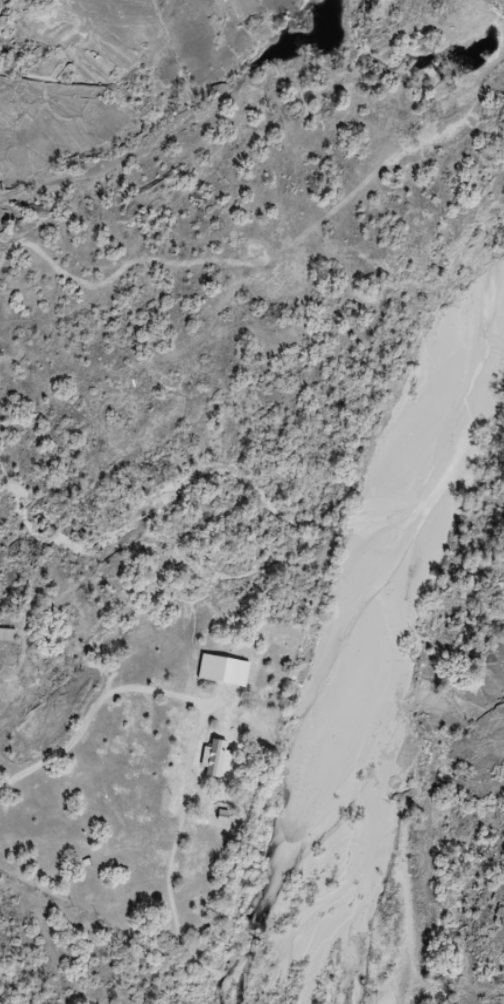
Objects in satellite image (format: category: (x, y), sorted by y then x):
building: (8, 635)
building: (225, 671)
building: (218, 760)

